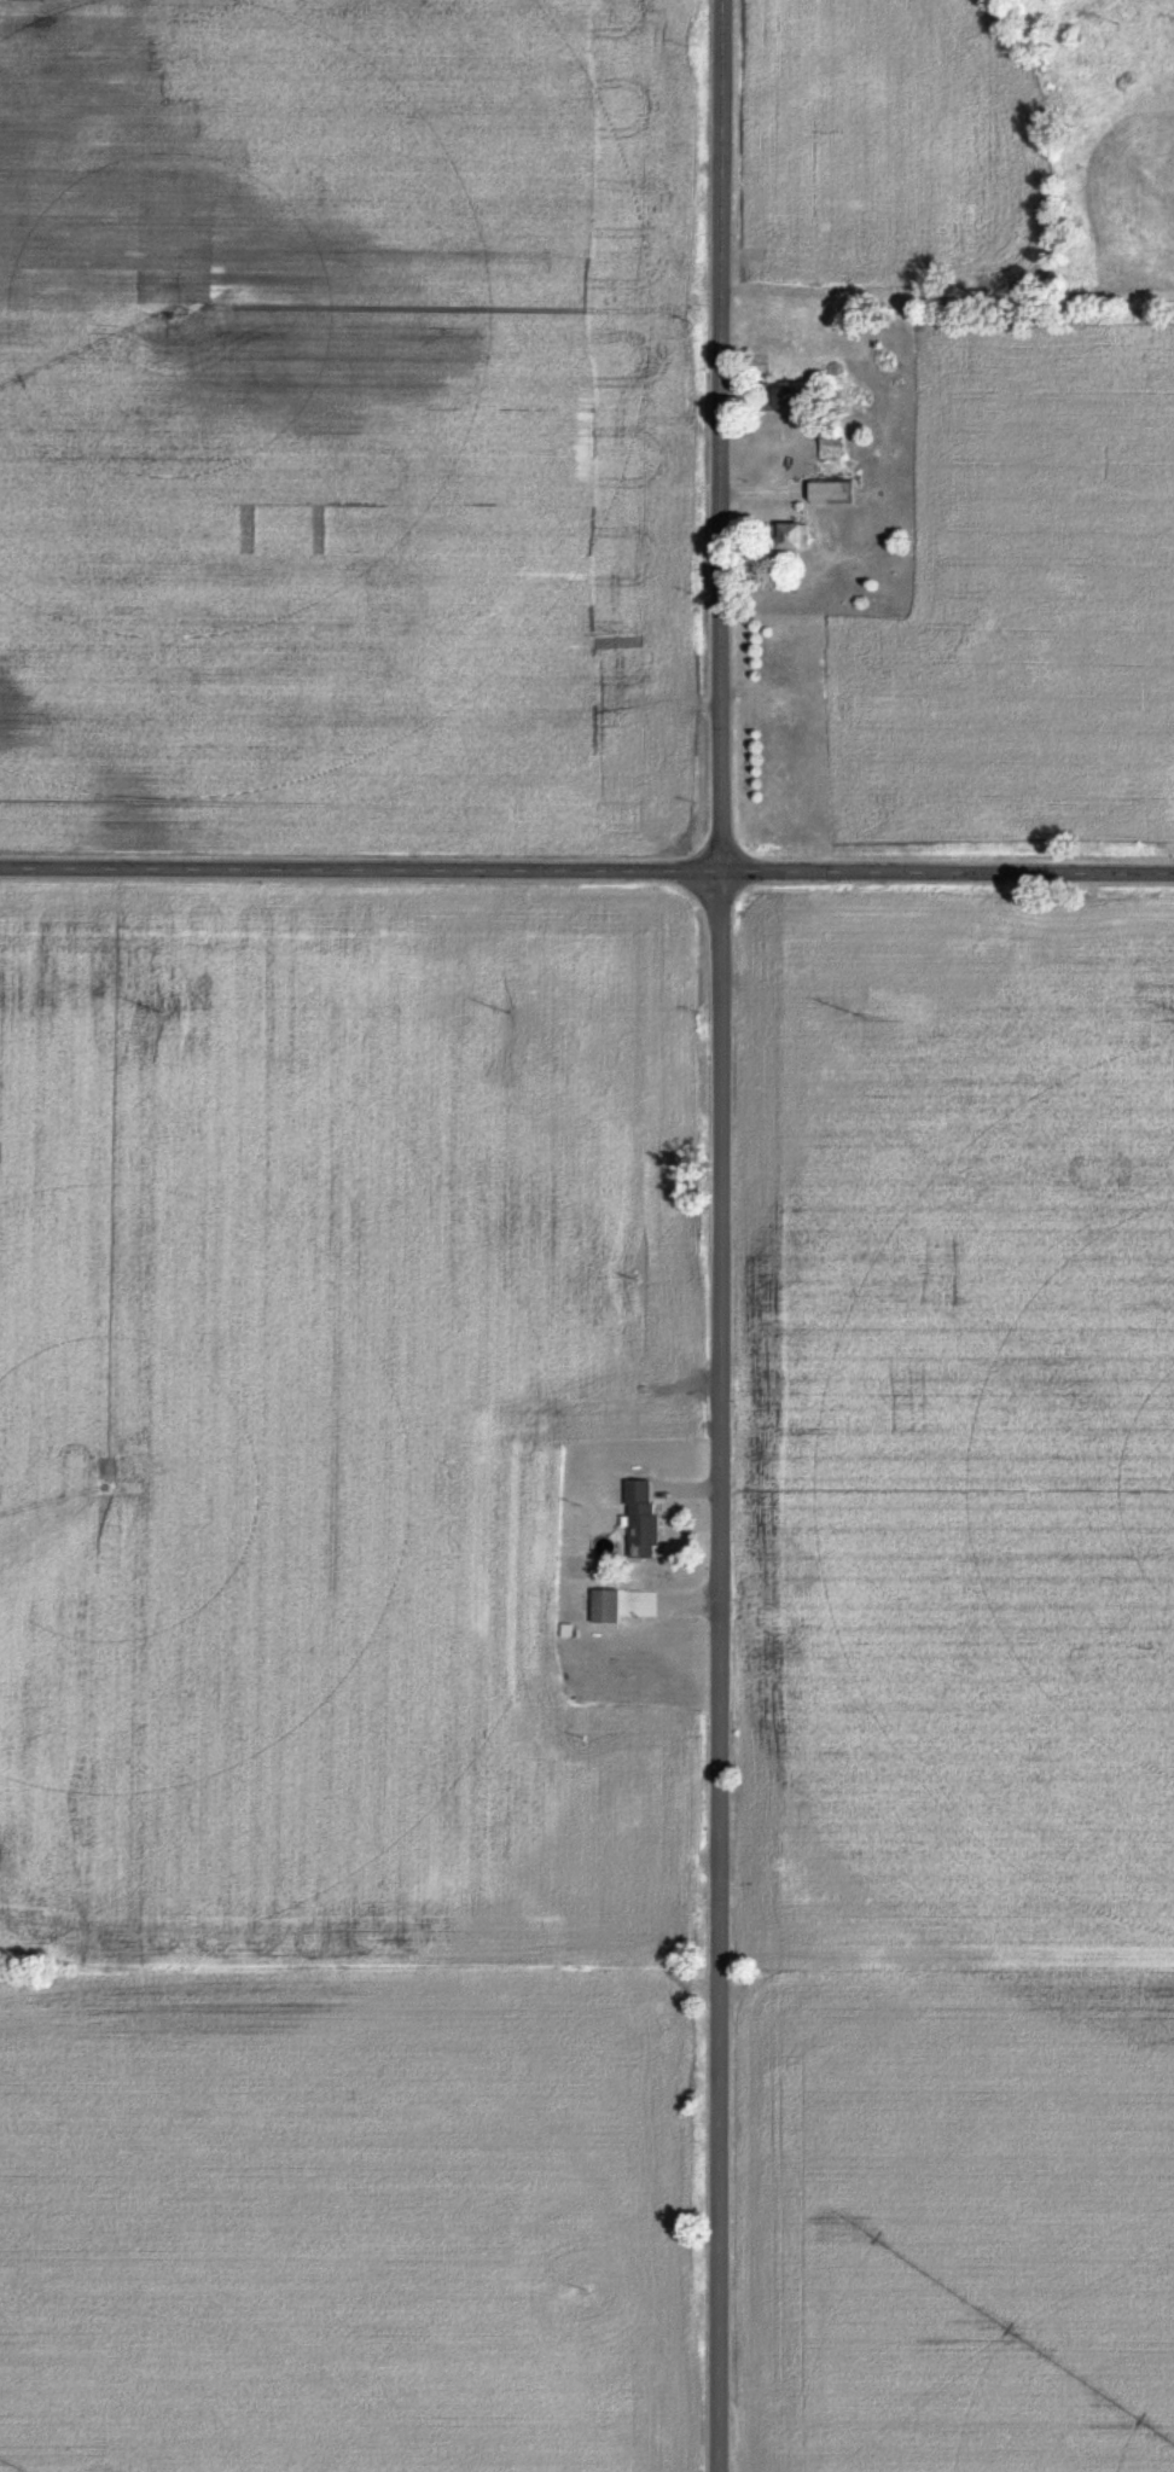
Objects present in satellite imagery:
building: (777, 396)
building: (829, 492)
road: (587, 863)
road: (781, 905)
power tower: (161, 1011)
power tower: (506, 1011)
power tower: (859, 1016)
road: (720, 1235)
building: (638, 1516)
building: (604, 1605)

